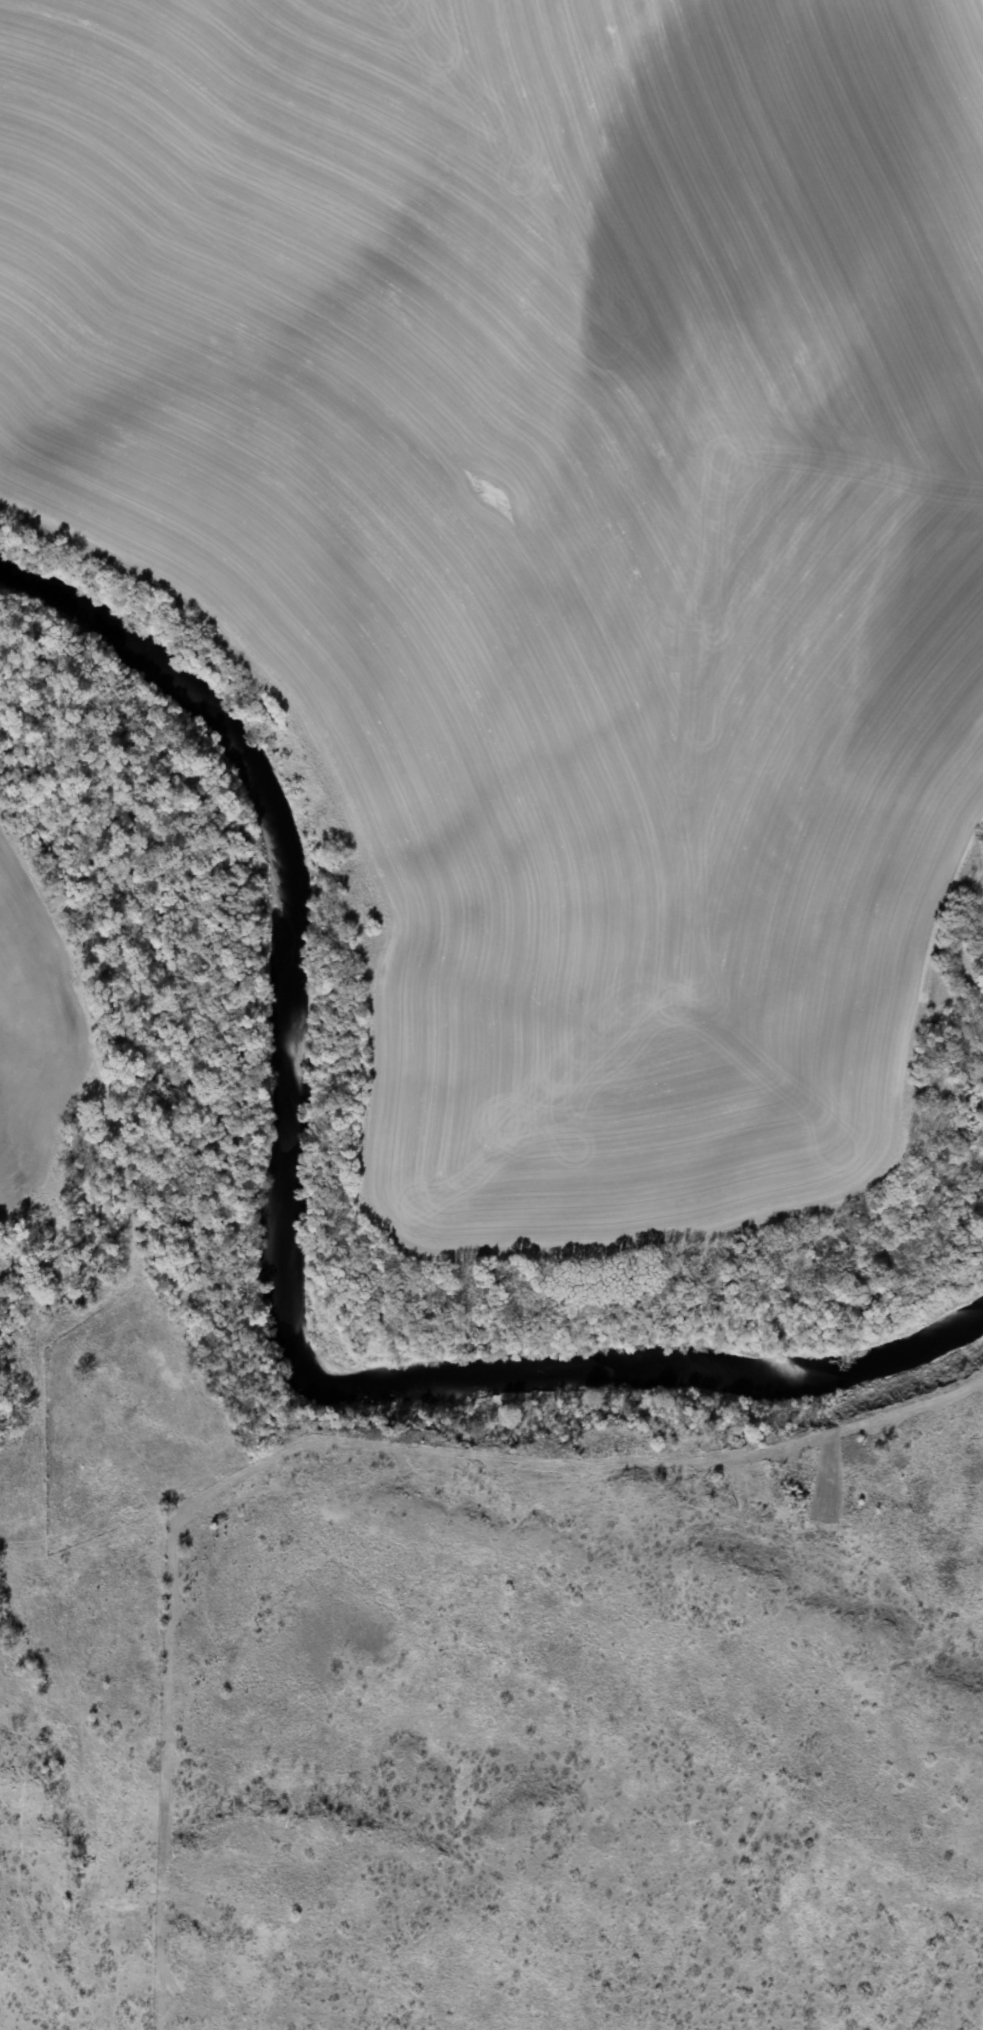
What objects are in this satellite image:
river: (277, 1267)

